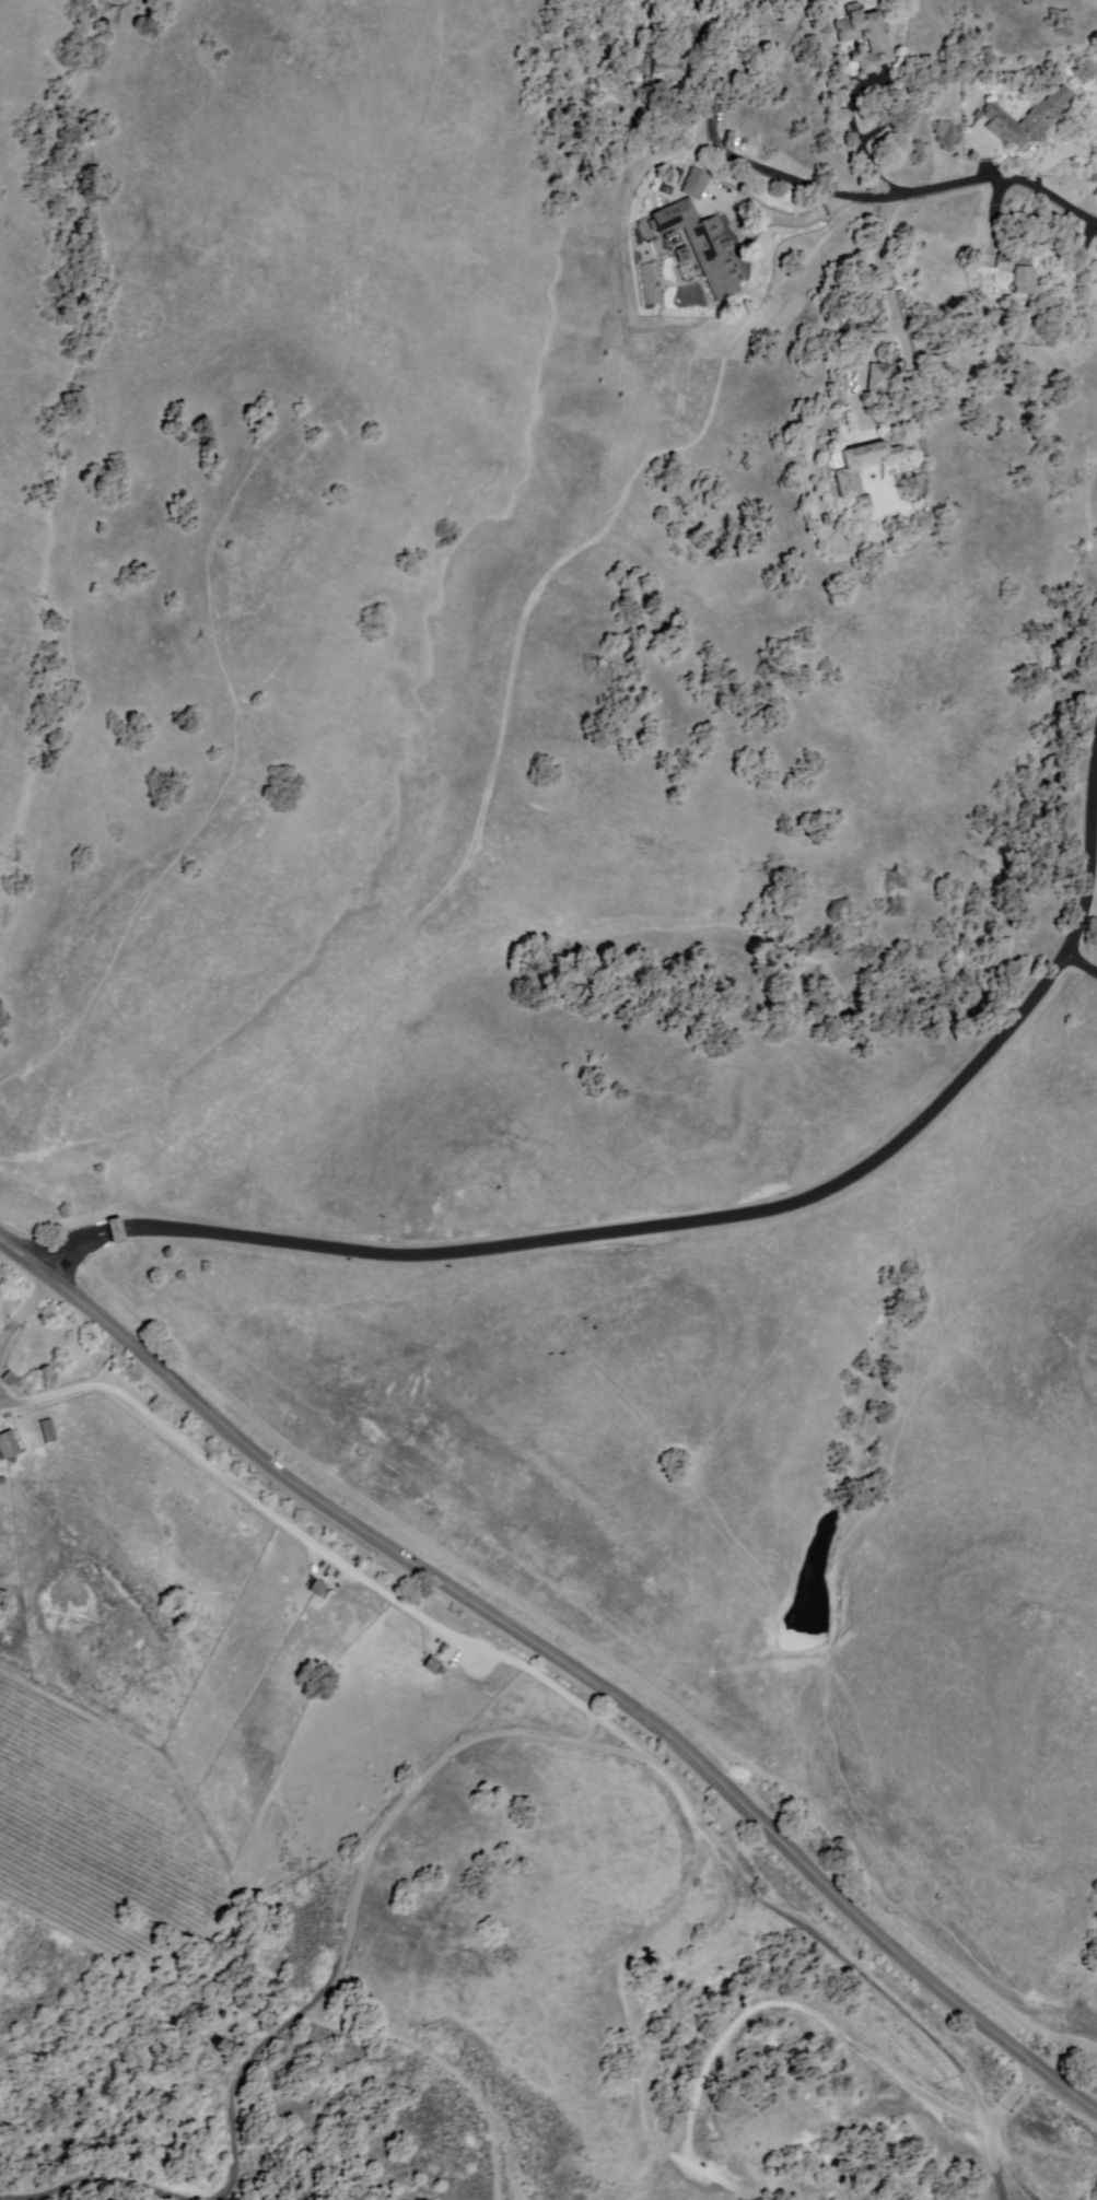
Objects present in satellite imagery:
building: (693, 11)
building: (864, 37)
building: (672, 70)
building: (1026, 120)
building: (697, 184)
road: (894, 195)
building: (702, 246)
road: (885, 264)
building: (1019, 272)
building: (880, 378)
building: (859, 467)
building: (863, 502)
power tower: (768, 672)
road: (1081, 961)
road: (695, 1222)
building: (115, 1231)
road: (20, 1315)
building: (47, 1432)
building: (10, 1446)
road: (334, 1557)
building: (317, 1589)
road: (561, 1661)
building: (432, 1665)
road: (441, 1771)
road: (1000, 2126)
road: (997, 2155)

